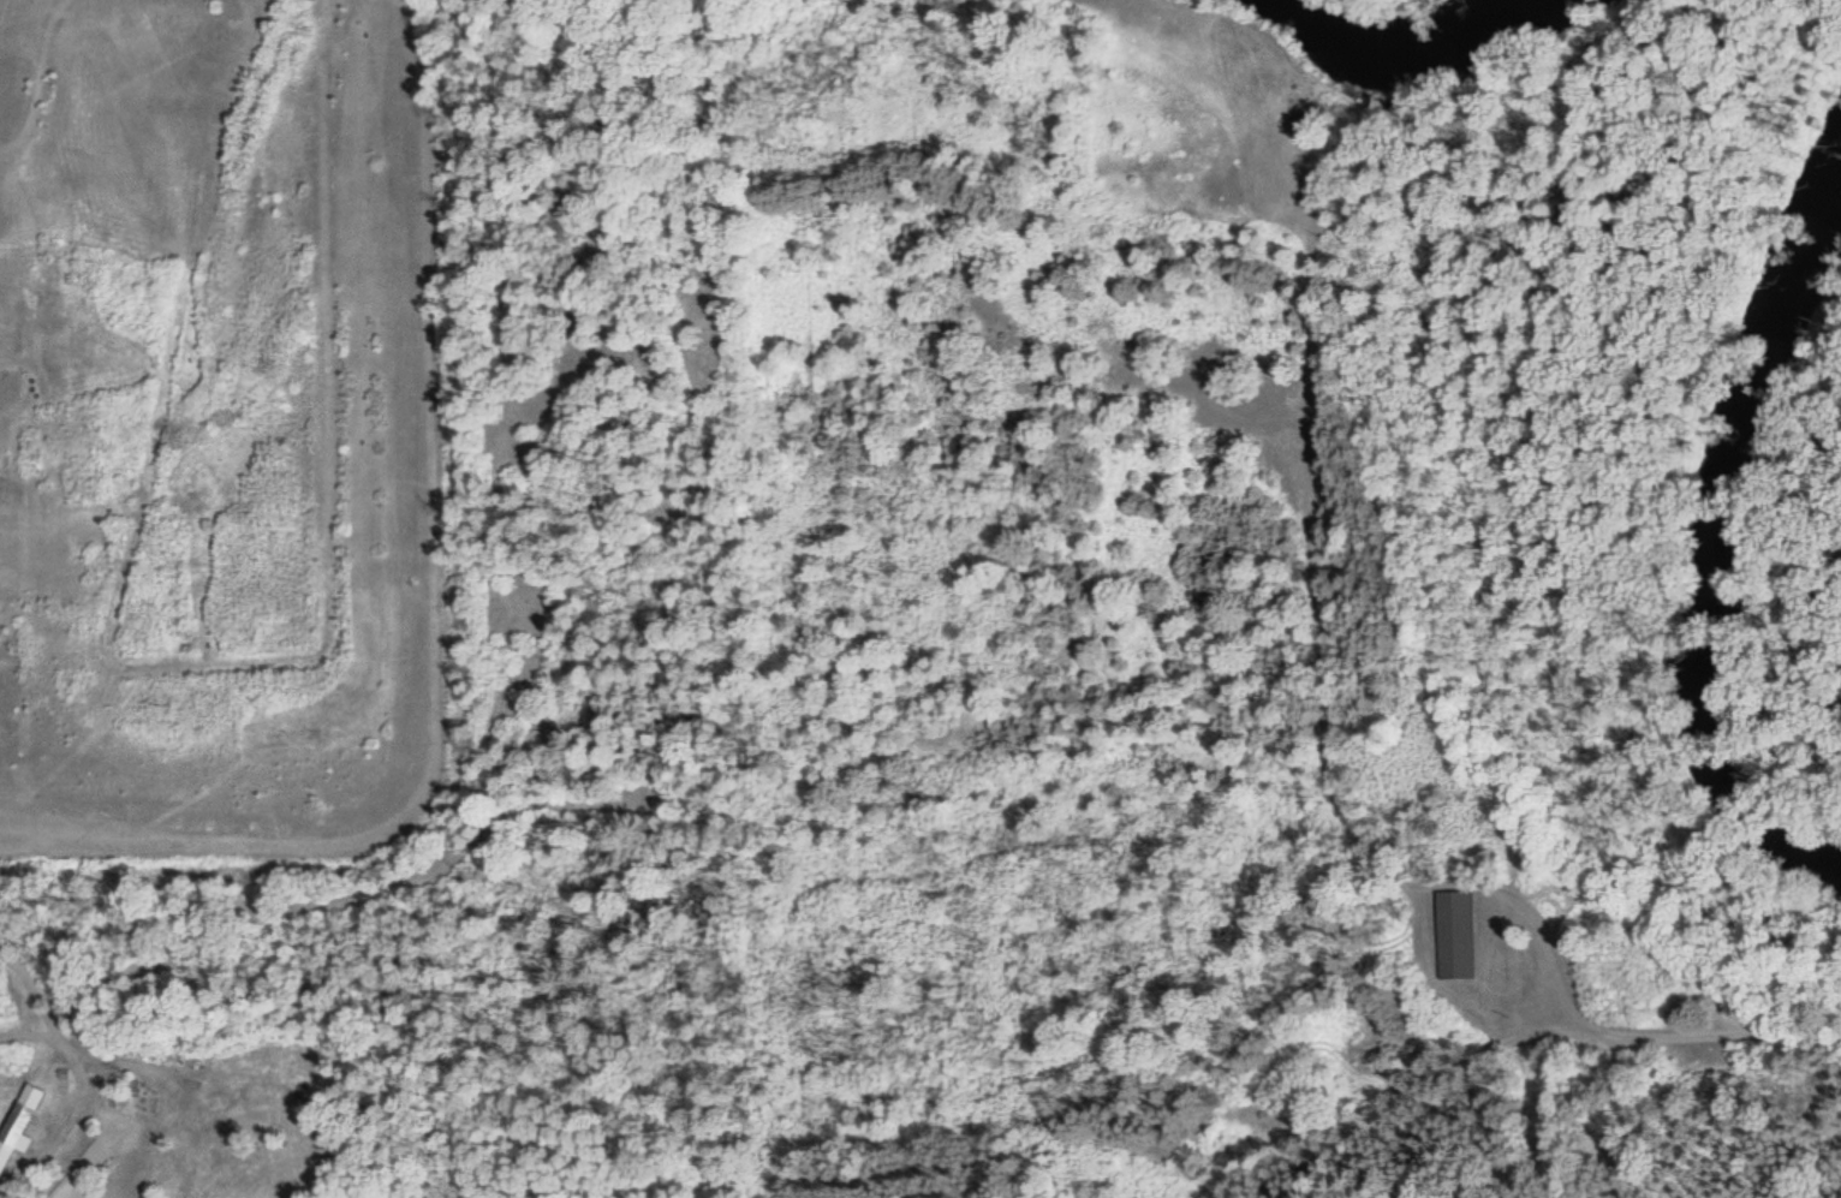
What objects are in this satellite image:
river: (1383, 50)
river: (1702, 546)
park: (395, 594)
building: (1458, 935)
building: (19, 1125)

